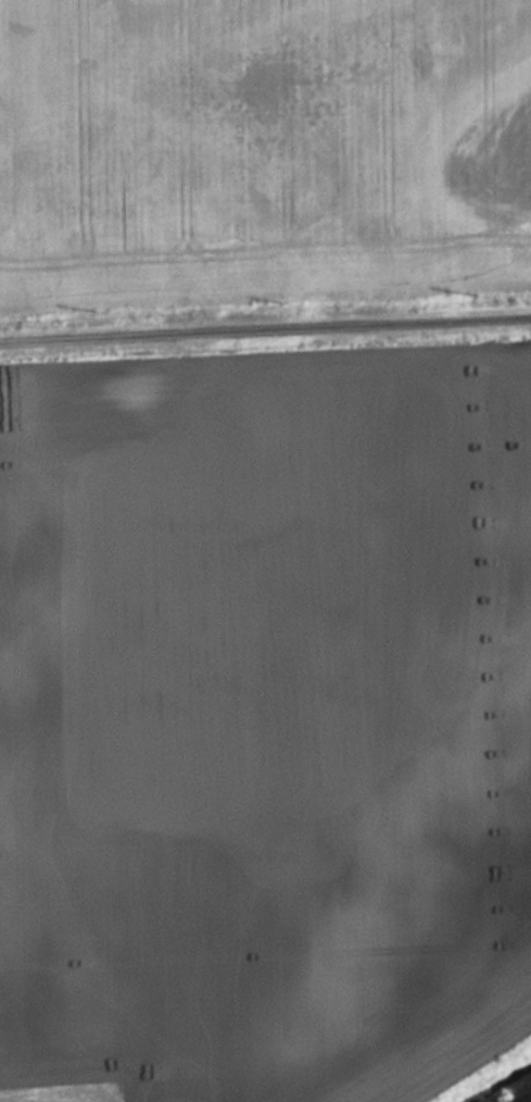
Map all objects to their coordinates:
road: (265, 330)

